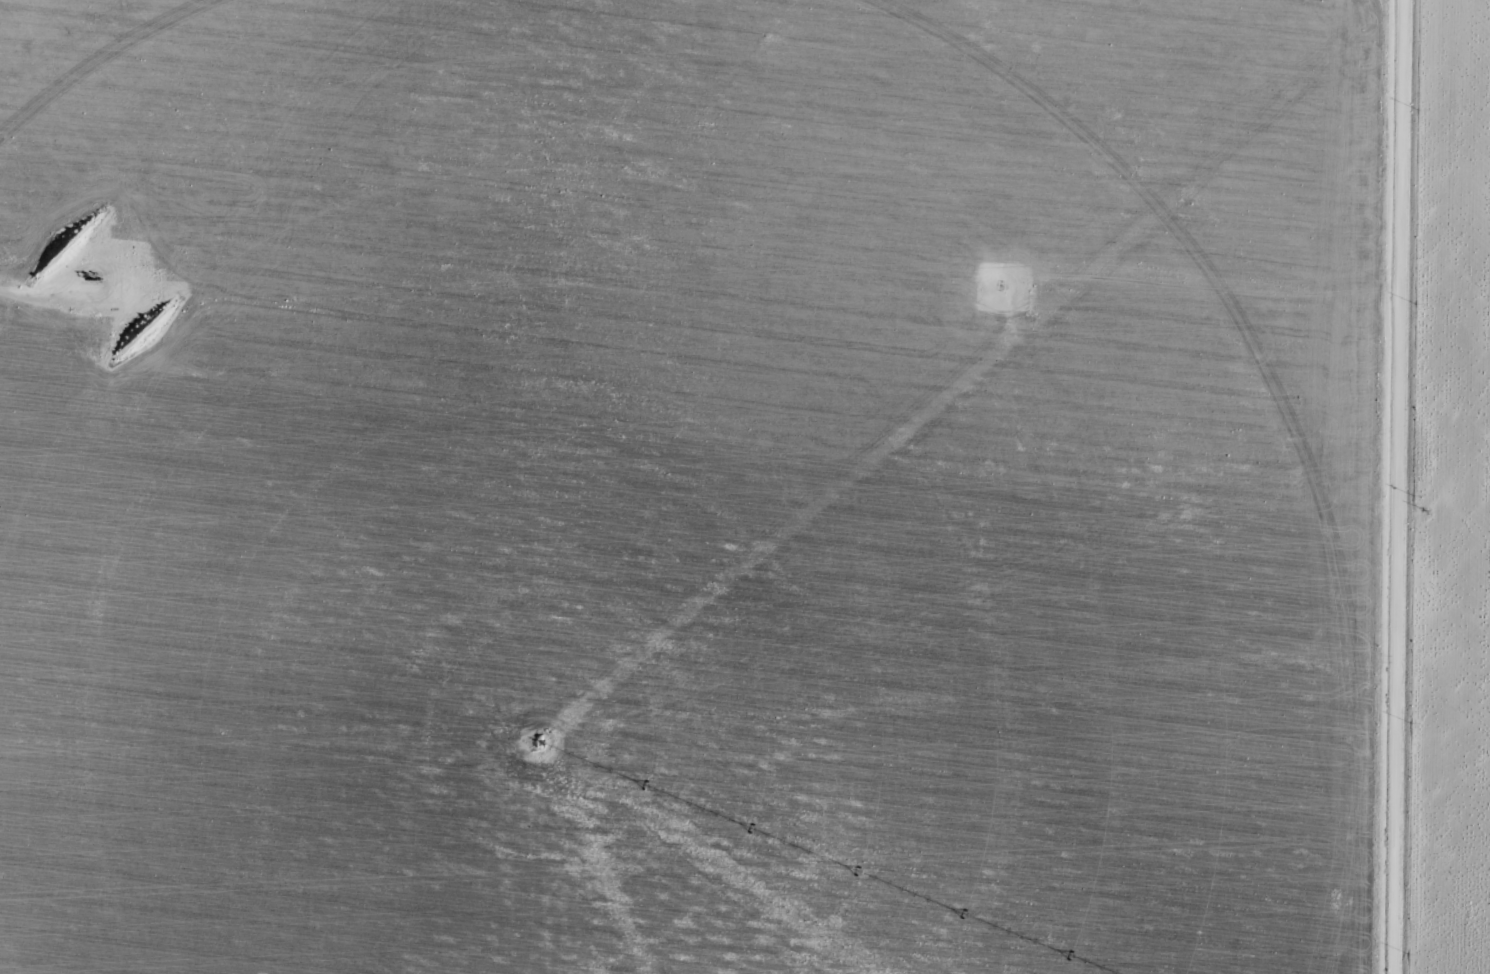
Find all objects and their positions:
petroleum well: (91, 281)
road: (1398, 487)

